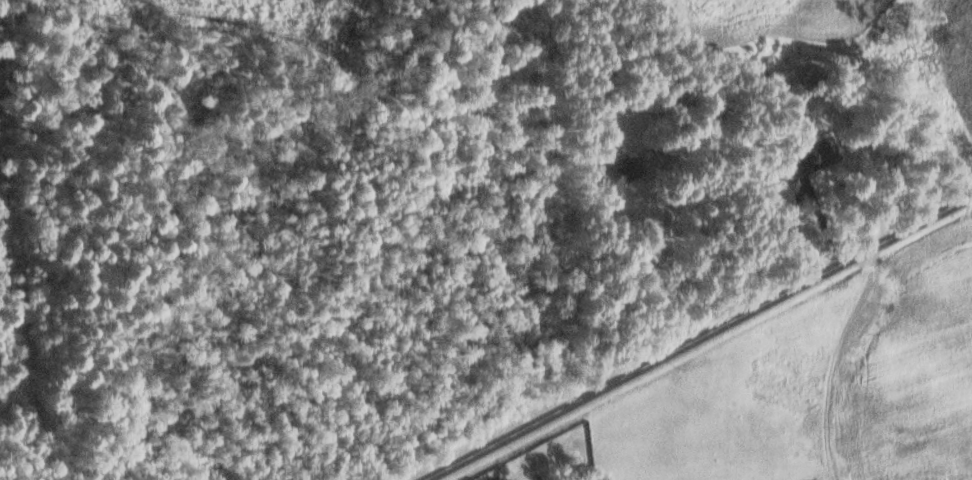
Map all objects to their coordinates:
building: (811, 156)
building: (620, 173)
road: (696, 335)

